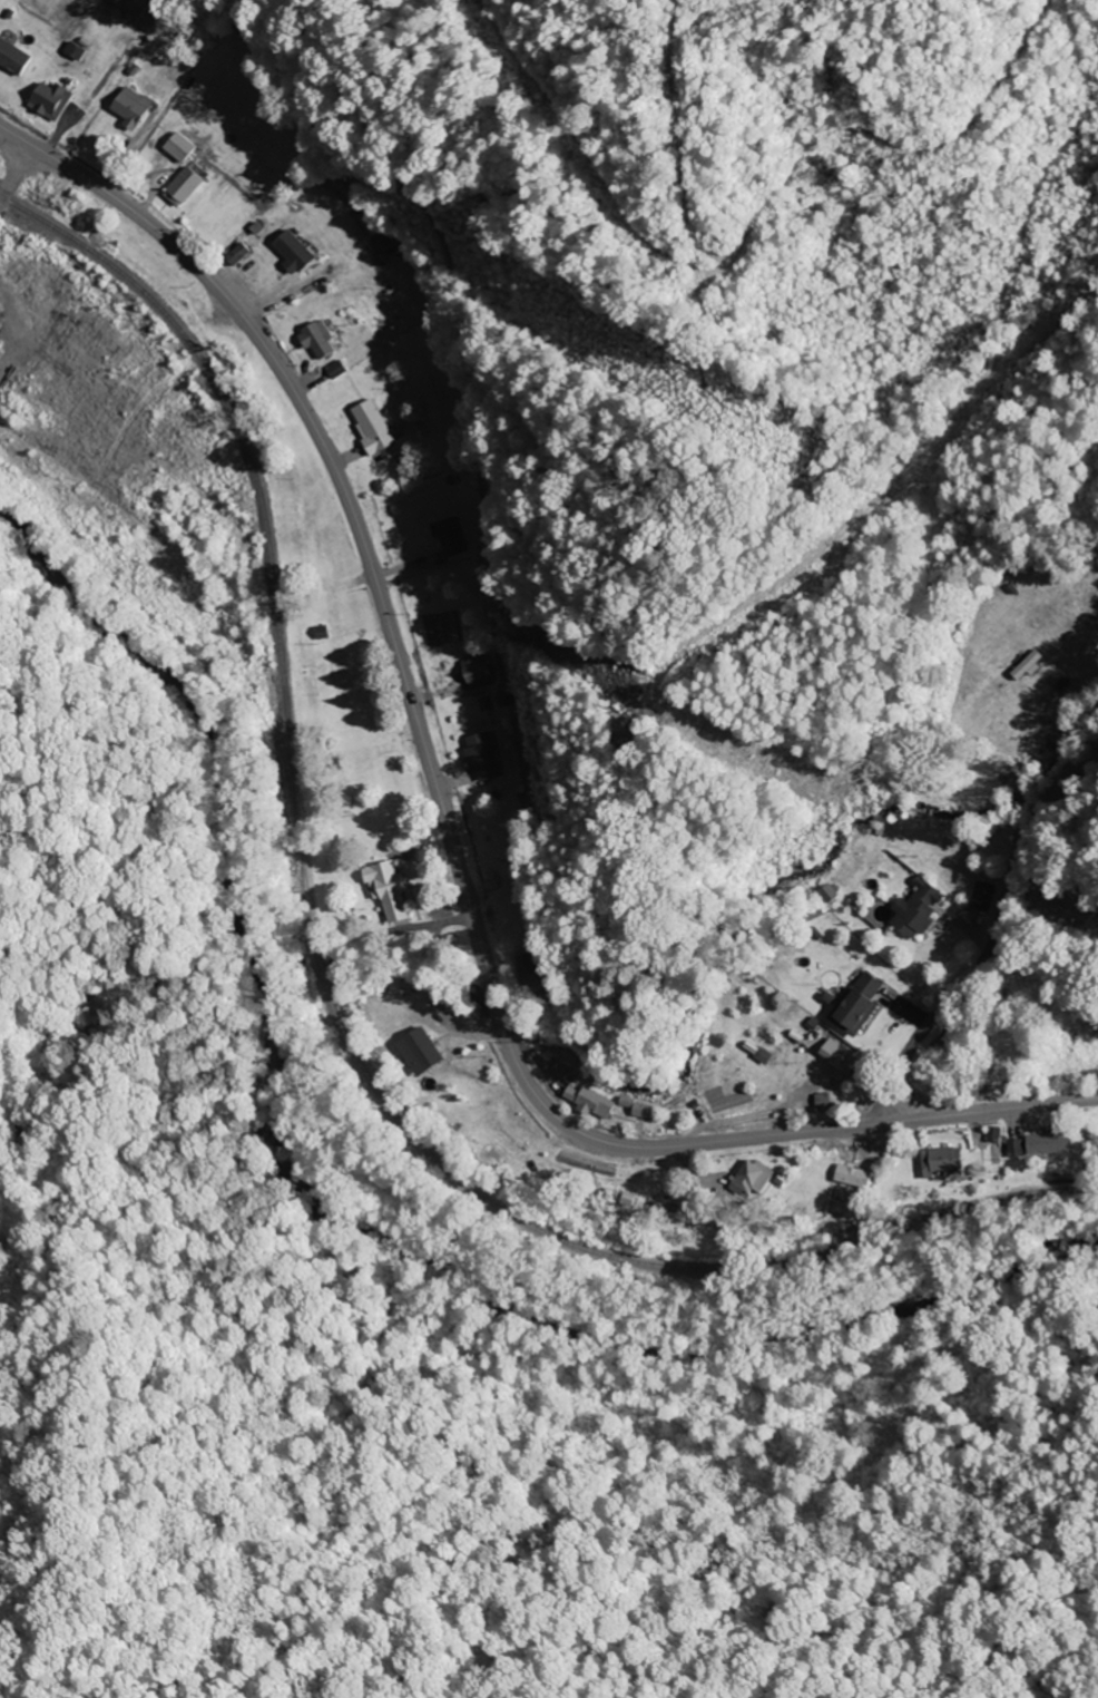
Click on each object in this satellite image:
building: (135, 7)
building: (16, 56)
building: (46, 100)
building: (127, 106)
road: (502, 111)
building: (175, 146)
road: (11, 167)
building: (179, 186)
building: (286, 251)
road: (359, 309)
building: (312, 339)
building: (365, 426)
building: (441, 536)
building: (1027, 664)
building: (474, 757)
road: (445, 826)
building: (386, 889)
building: (829, 891)
building: (981, 895)
building: (914, 909)
road: (1001, 940)
railway: (326, 986)
building: (856, 1003)
building: (419, 1051)
building: (762, 1055)
building: (836, 1056)
building: (561, 1070)
building: (823, 1100)
building: (589, 1102)
building: (637, 1107)
building: (993, 1134)
building: (1049, 1143)
building: (1016, 1148)
building: (940, 1160)
building: (851, 1175)
building: (751, 1177)
building: (618, 1197)

